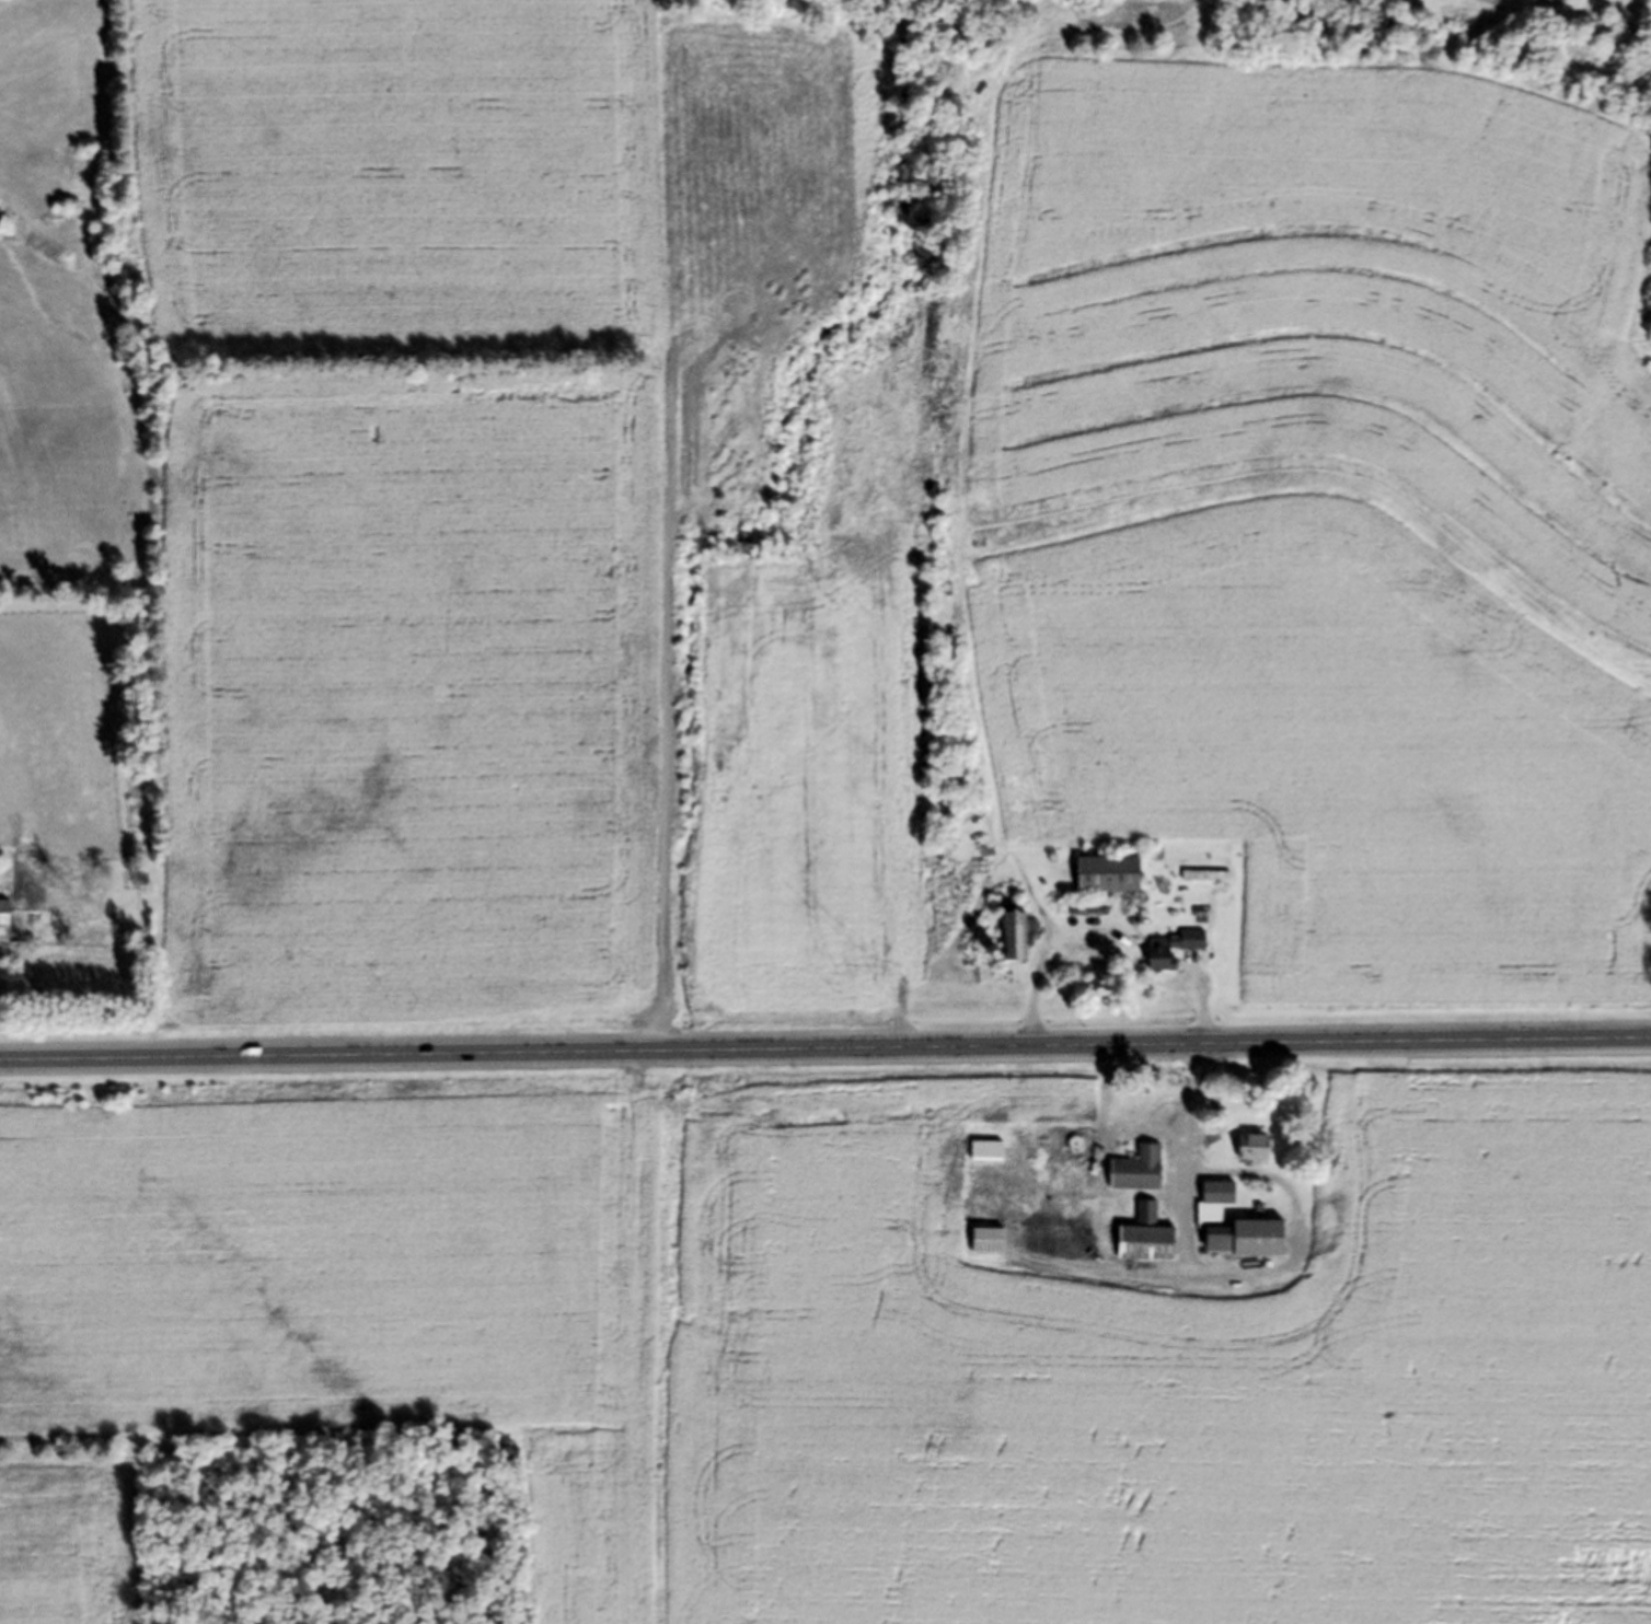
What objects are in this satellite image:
building: (1100, 881)
building: (1082, 915)
building: (1, 926)
building: (1008, 939)
building: (1166, 952)
road: (824, 1051)
building: (1245, 1153)
building: (980, 1158)
building: (1084, 1180)
building: (1327, 1217)
building: (1210, 1221)
building: (1134, 1243)
building: (981, 1248)

